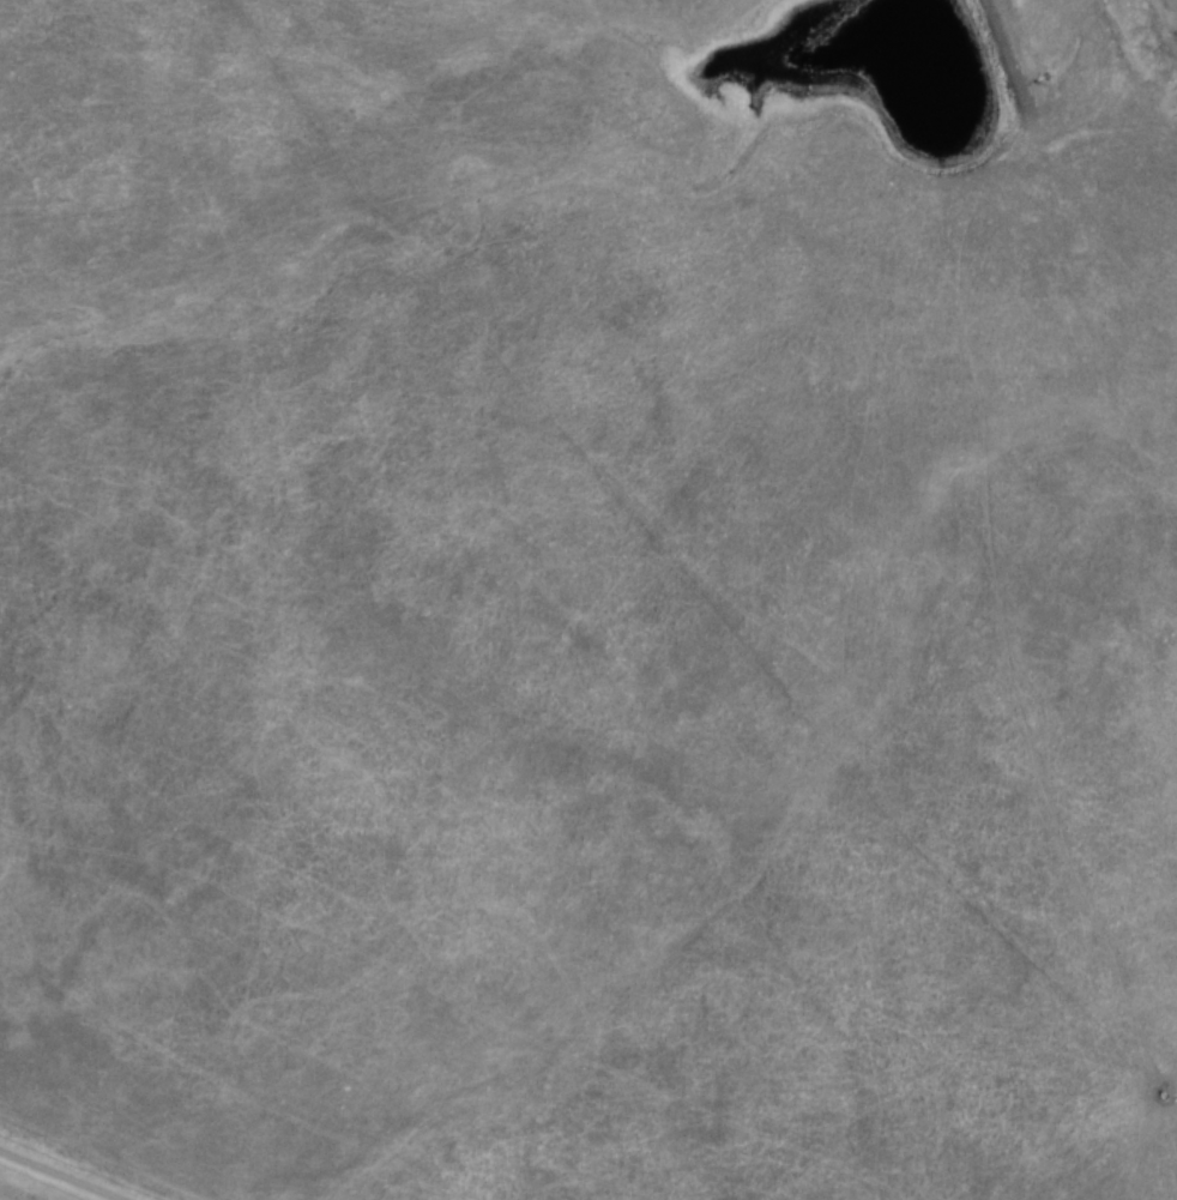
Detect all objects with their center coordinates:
road: (53, 1178)

